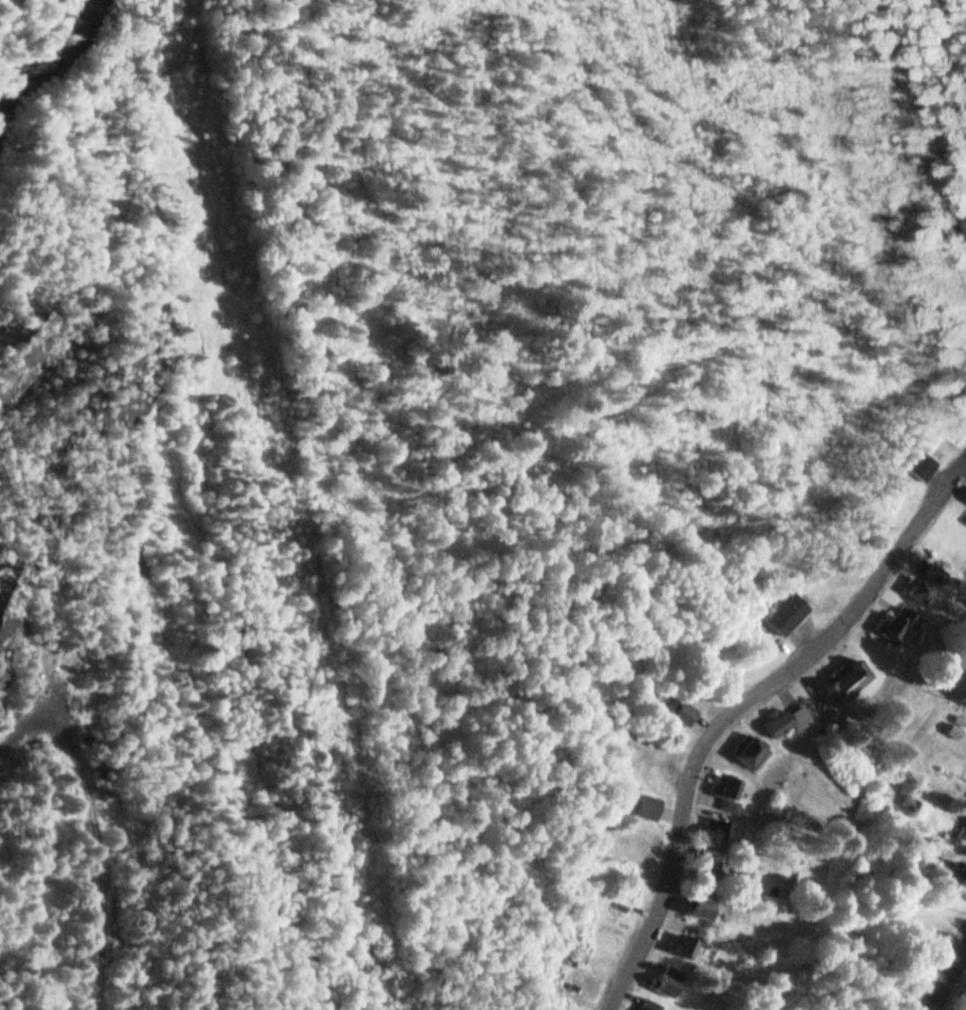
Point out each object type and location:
river: (40, 24)
river: (15, 78)
building: (923, 465)
building: (937, 573)
building: (921, 590)
building: (786, 613)
building: (899, 624)
building: (845, 680)
road: (737, 702)
building: (682, 712)
building: (787, 721)
building: (749, 751)
building: (725, 790)
building: (909, 802)
building: (646, 806)
building: (717, 829)
building: (962, 830)
building: (713, 865)
building: (957, 872)
building: (703, 905)
building: (687, 946)
road: (945, 974)
building: (673, 980)
building: (654, 1005)

